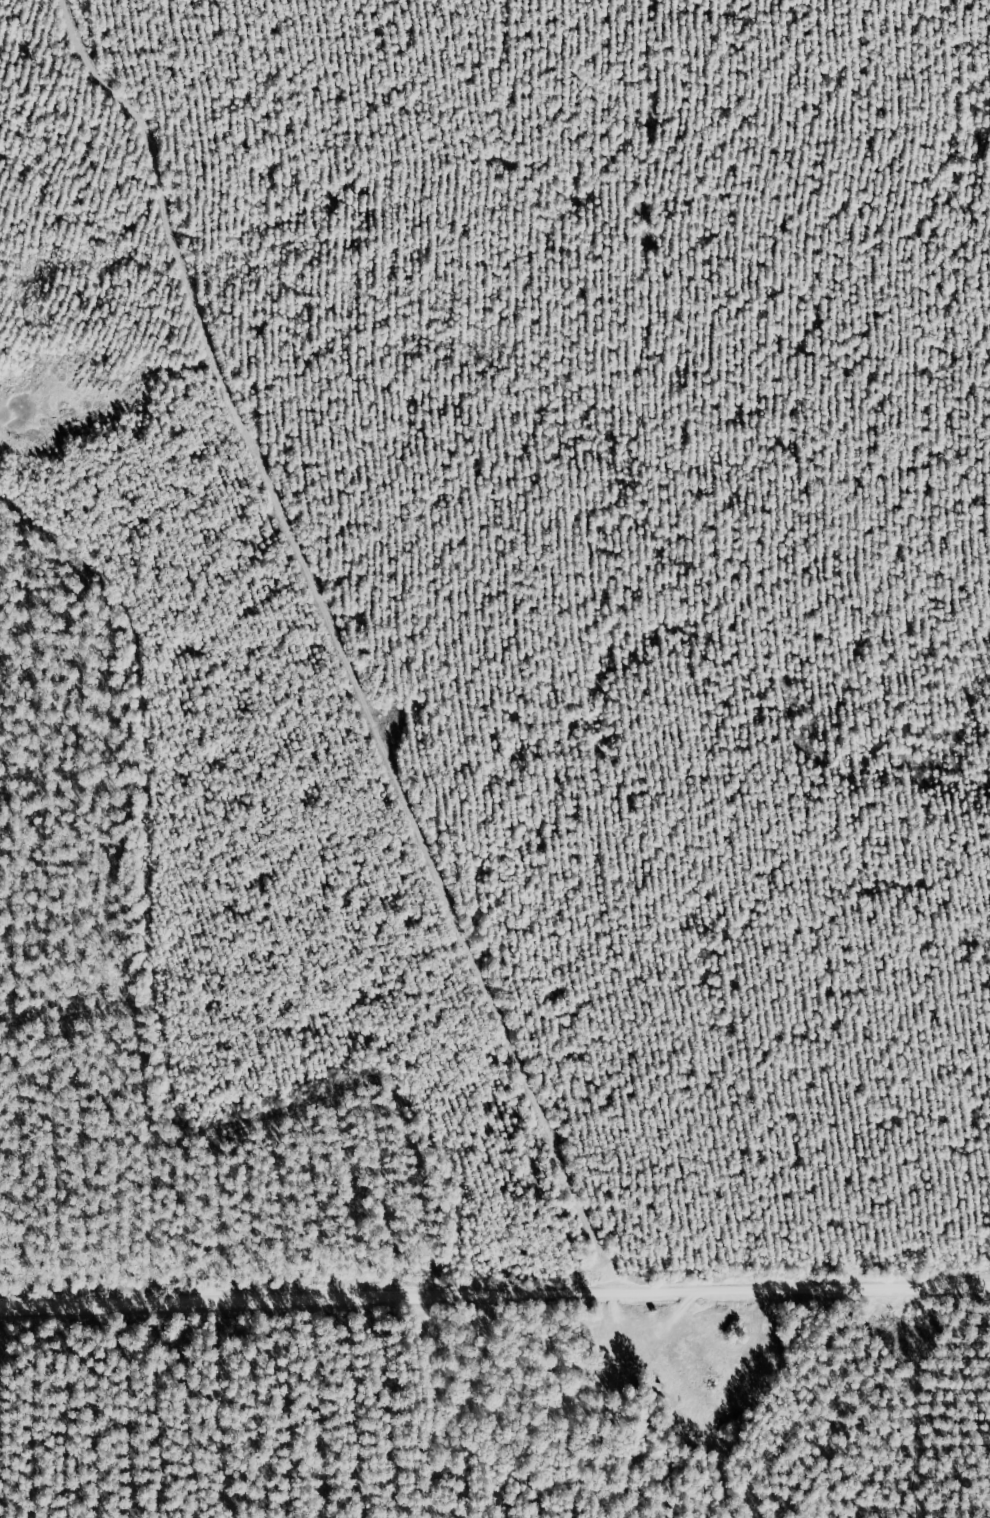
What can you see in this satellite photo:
road: (495, 1292)
building: (754, 1358)

